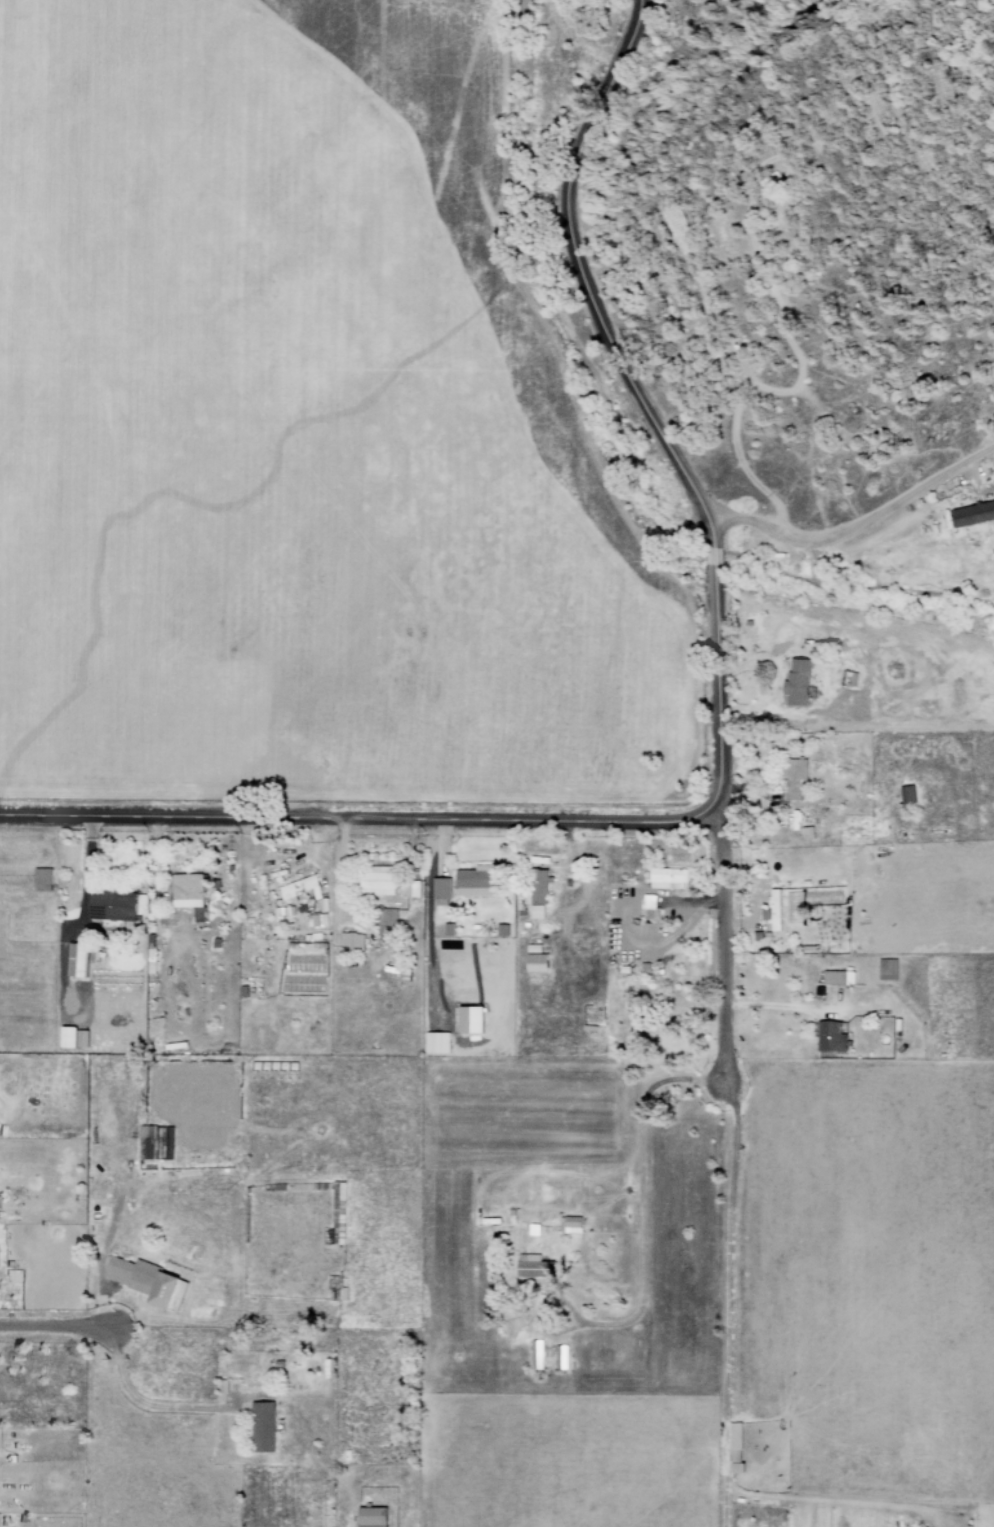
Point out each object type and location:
road: (589, 283)
building: (974, 514)
road: (860, 527)
road: (718, 559)
building: (800, 682)
road: (723, 692)
building: (796, 778)
building: (909, 795)
road: (362, 817)
building: (795, 819)
building: (669, 879)
building: (477, 881)
building: (380, 882)
building: (299, 887)
building: (541, 887)
building: (442, 888)
building: (413, 889)
building: (190, 894)
building: (116, 906)
building: (651, 907)
building: (792, 908)
building: (538, 912)
building: (317, 920)
building: (388, 922)
building: (351, 940)
building: (79, 960)
building: (539, 964)
building: (839, 978)
building: (474, 1020)
building: (75, 1038)
building: (834, 1038)
building: (438, 1043)
building: (156, 1143)
road: (727, 1172)
road: (633, 1208)
building: (339, 1213)
building: (572, 1225)
building: (537, 1270)
building: (133, 1275)
building: (170, 1292)
road: (56, 1329)
building: (537, 1355)
building: (561, 1358)
building: (264, 1428)
building: (738, 1449)
building: (375, 1517)

